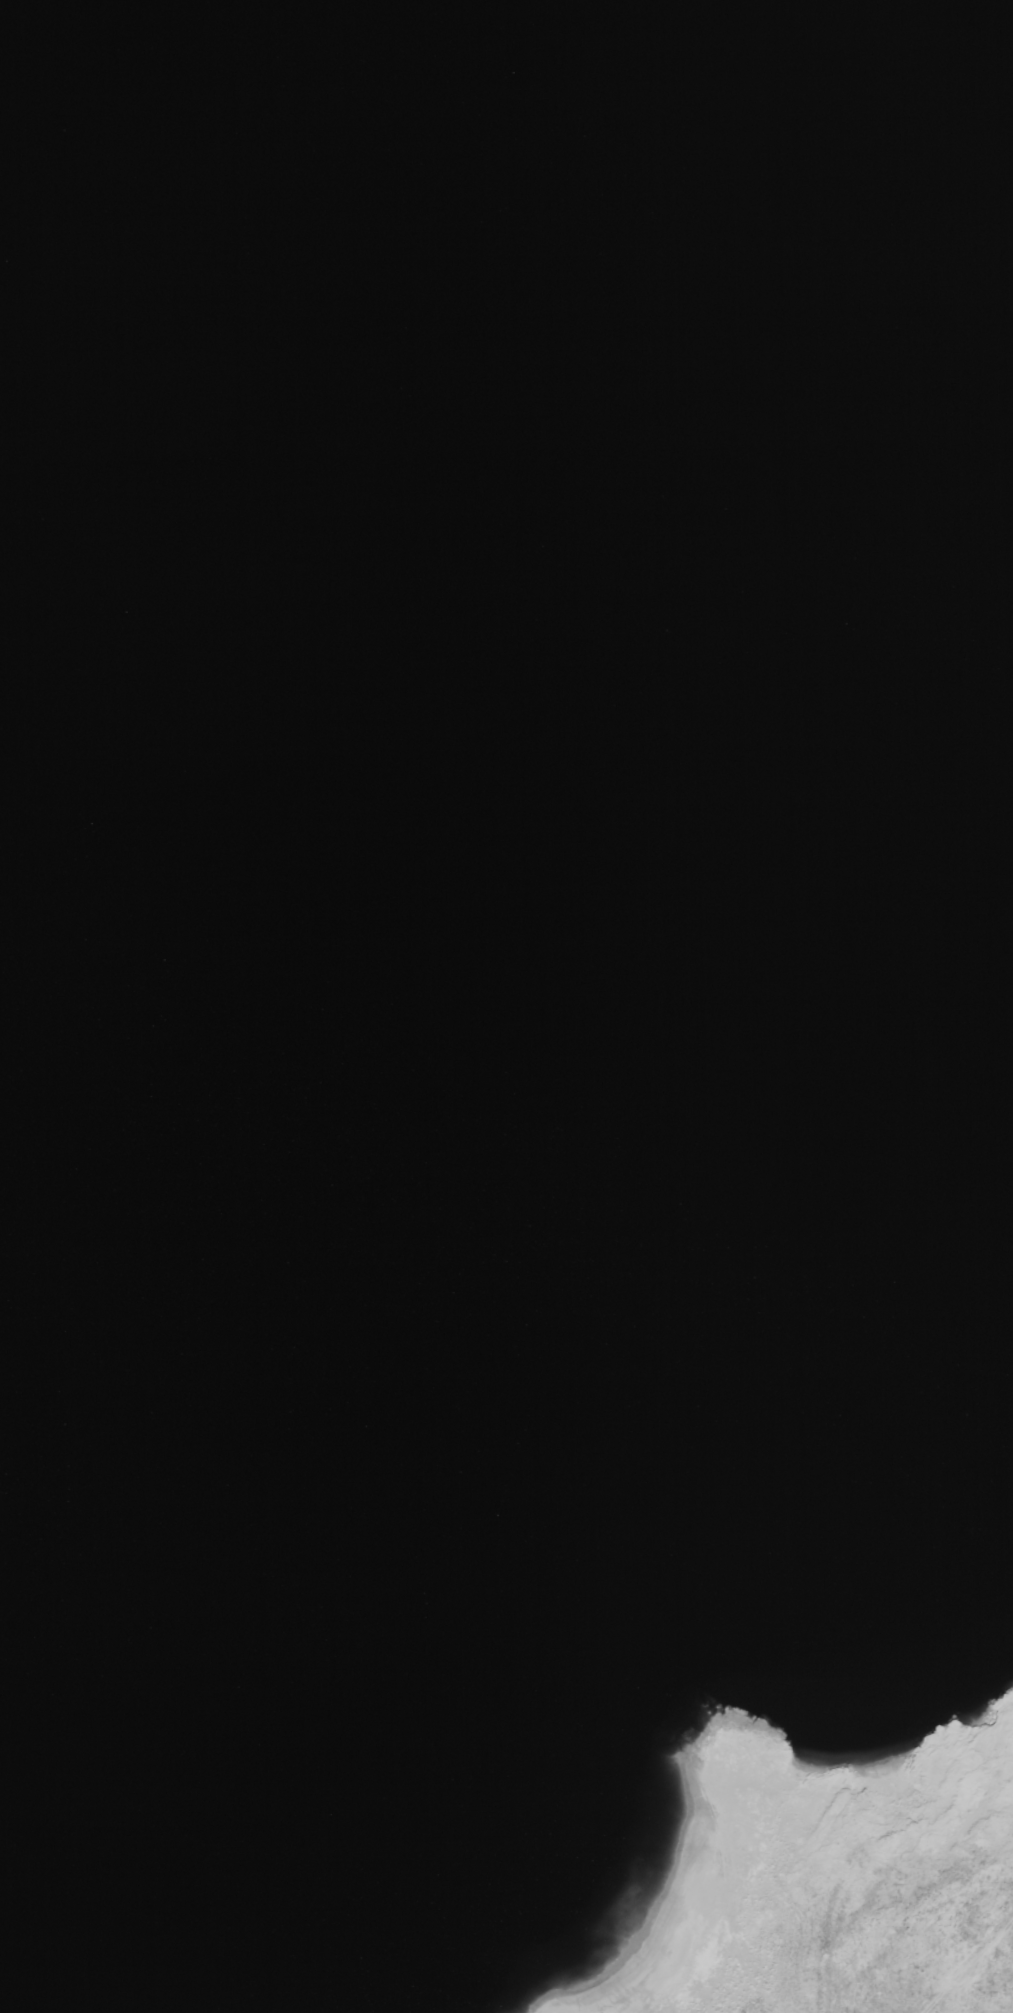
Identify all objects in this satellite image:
river: (88, 0)

